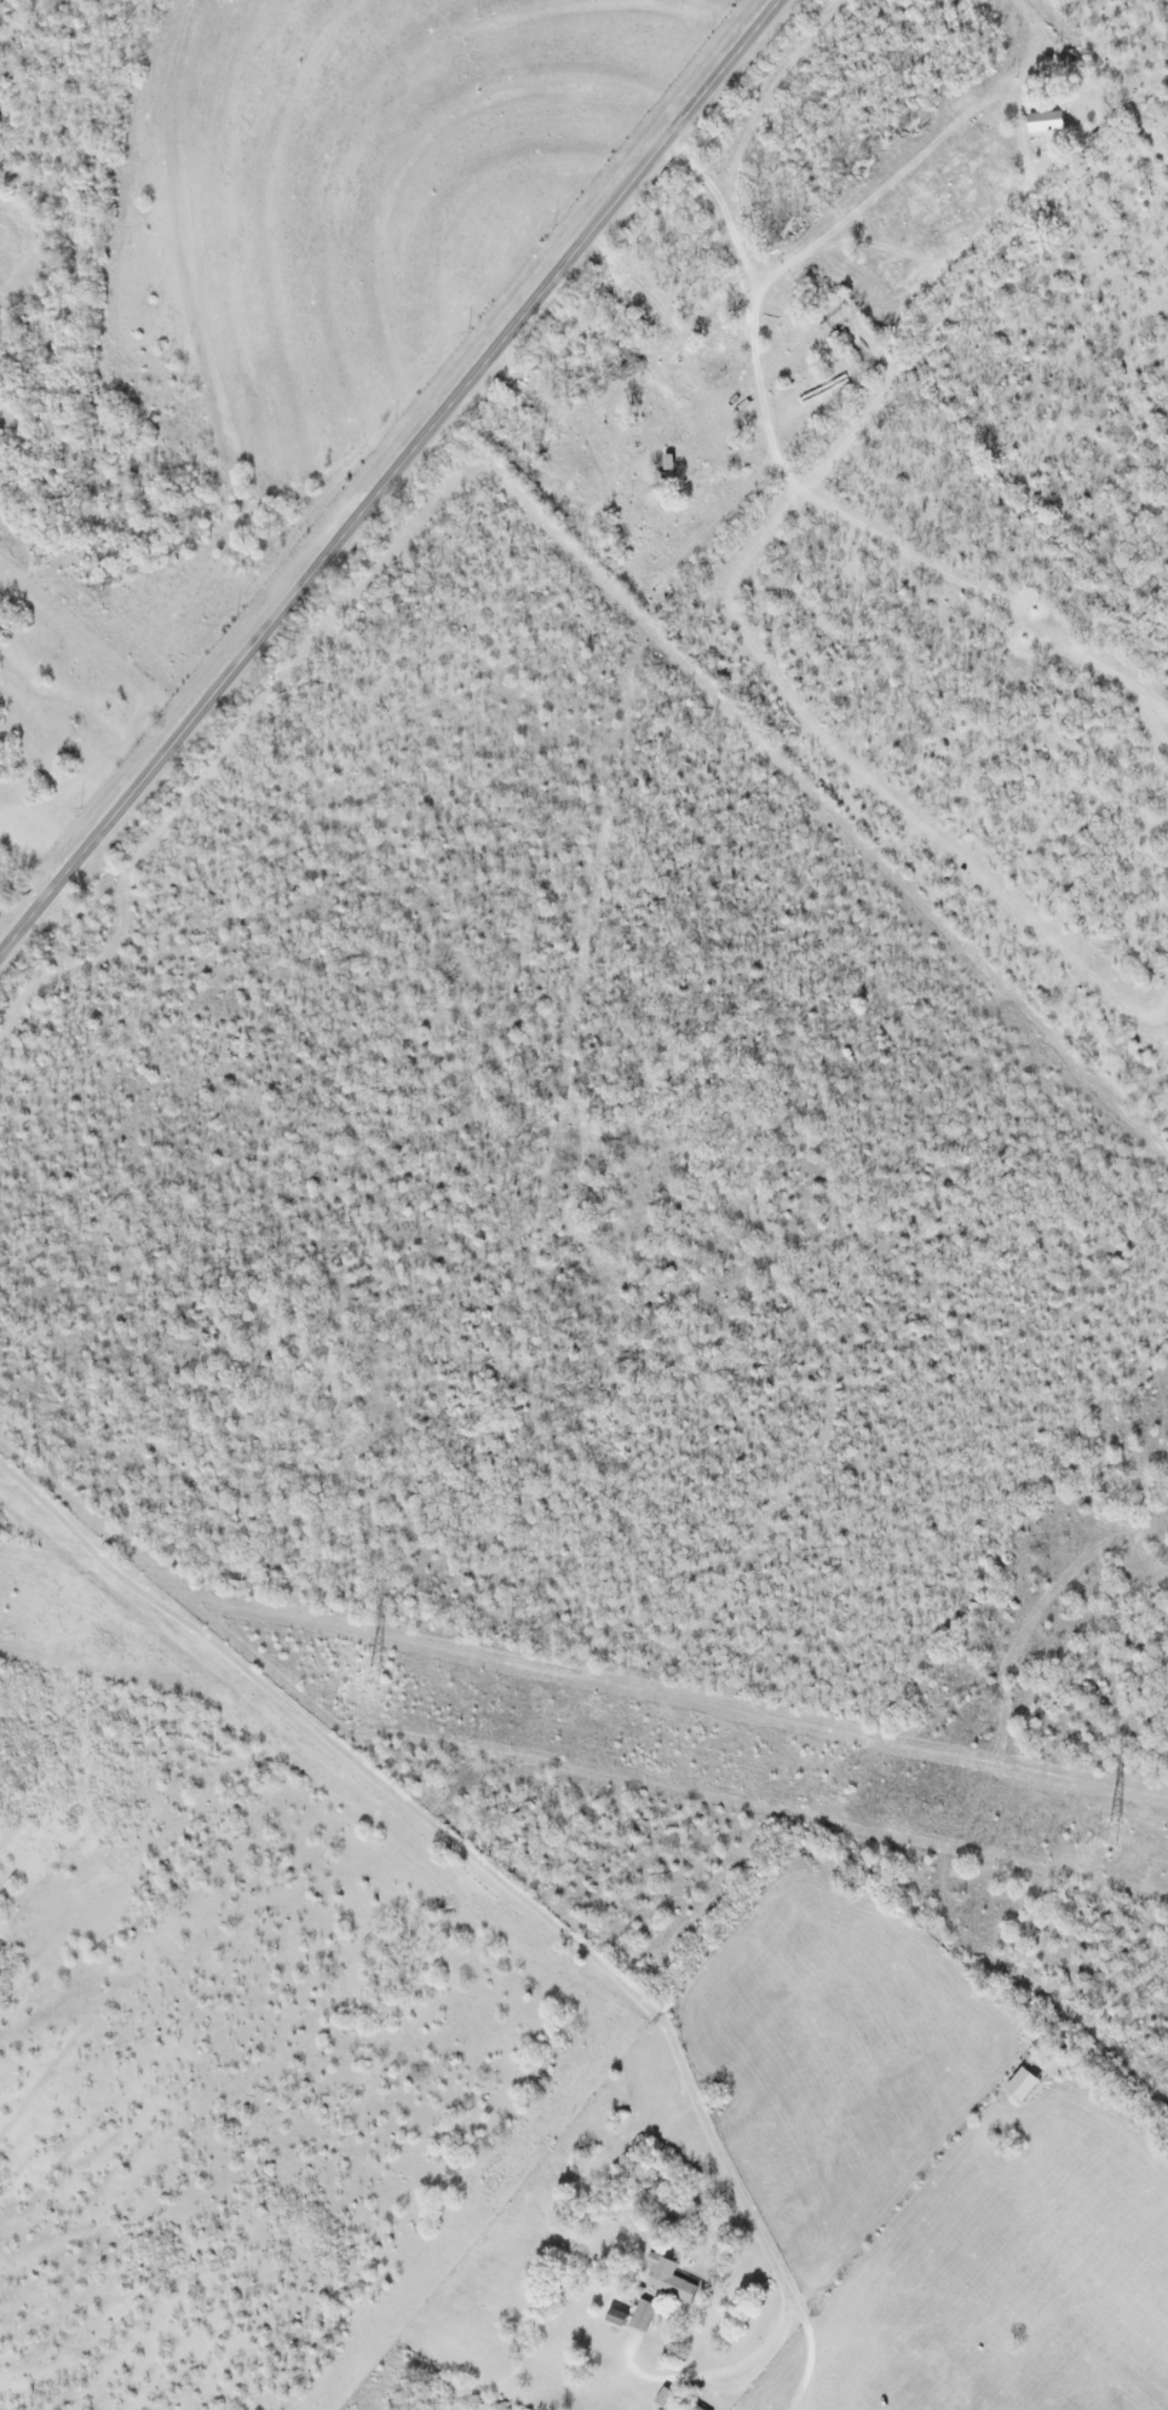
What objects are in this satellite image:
building: (1045, 121)
road: (390, 478)
building: (696, 484)
power tower: (372, 1680)
power tower: (1114, 1836)
building: (1023, 2084)
building: (667, 2279)
building: (634, 2314)

